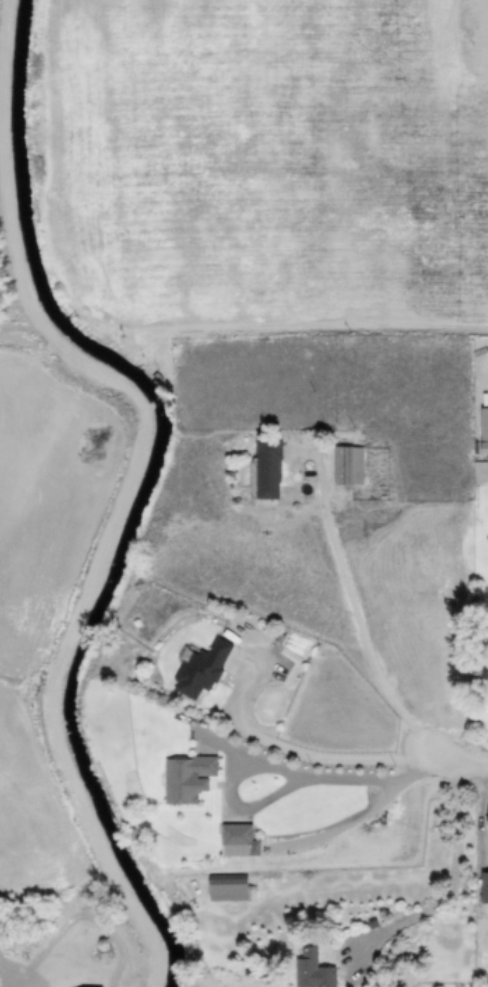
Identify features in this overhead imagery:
building: (484, 429)
building: (347, 463)
building: (268, 467)
road: (134, 484)
road: (361, 625)
building: (200, 667)
road: (331, 762)
building: (187, 777)
road: (364, 780)
road: (231, 802)
building: (238, 839)
building: (227, 886)
building: (484, 886)
building: (79, 939)
building: (312, 970)

